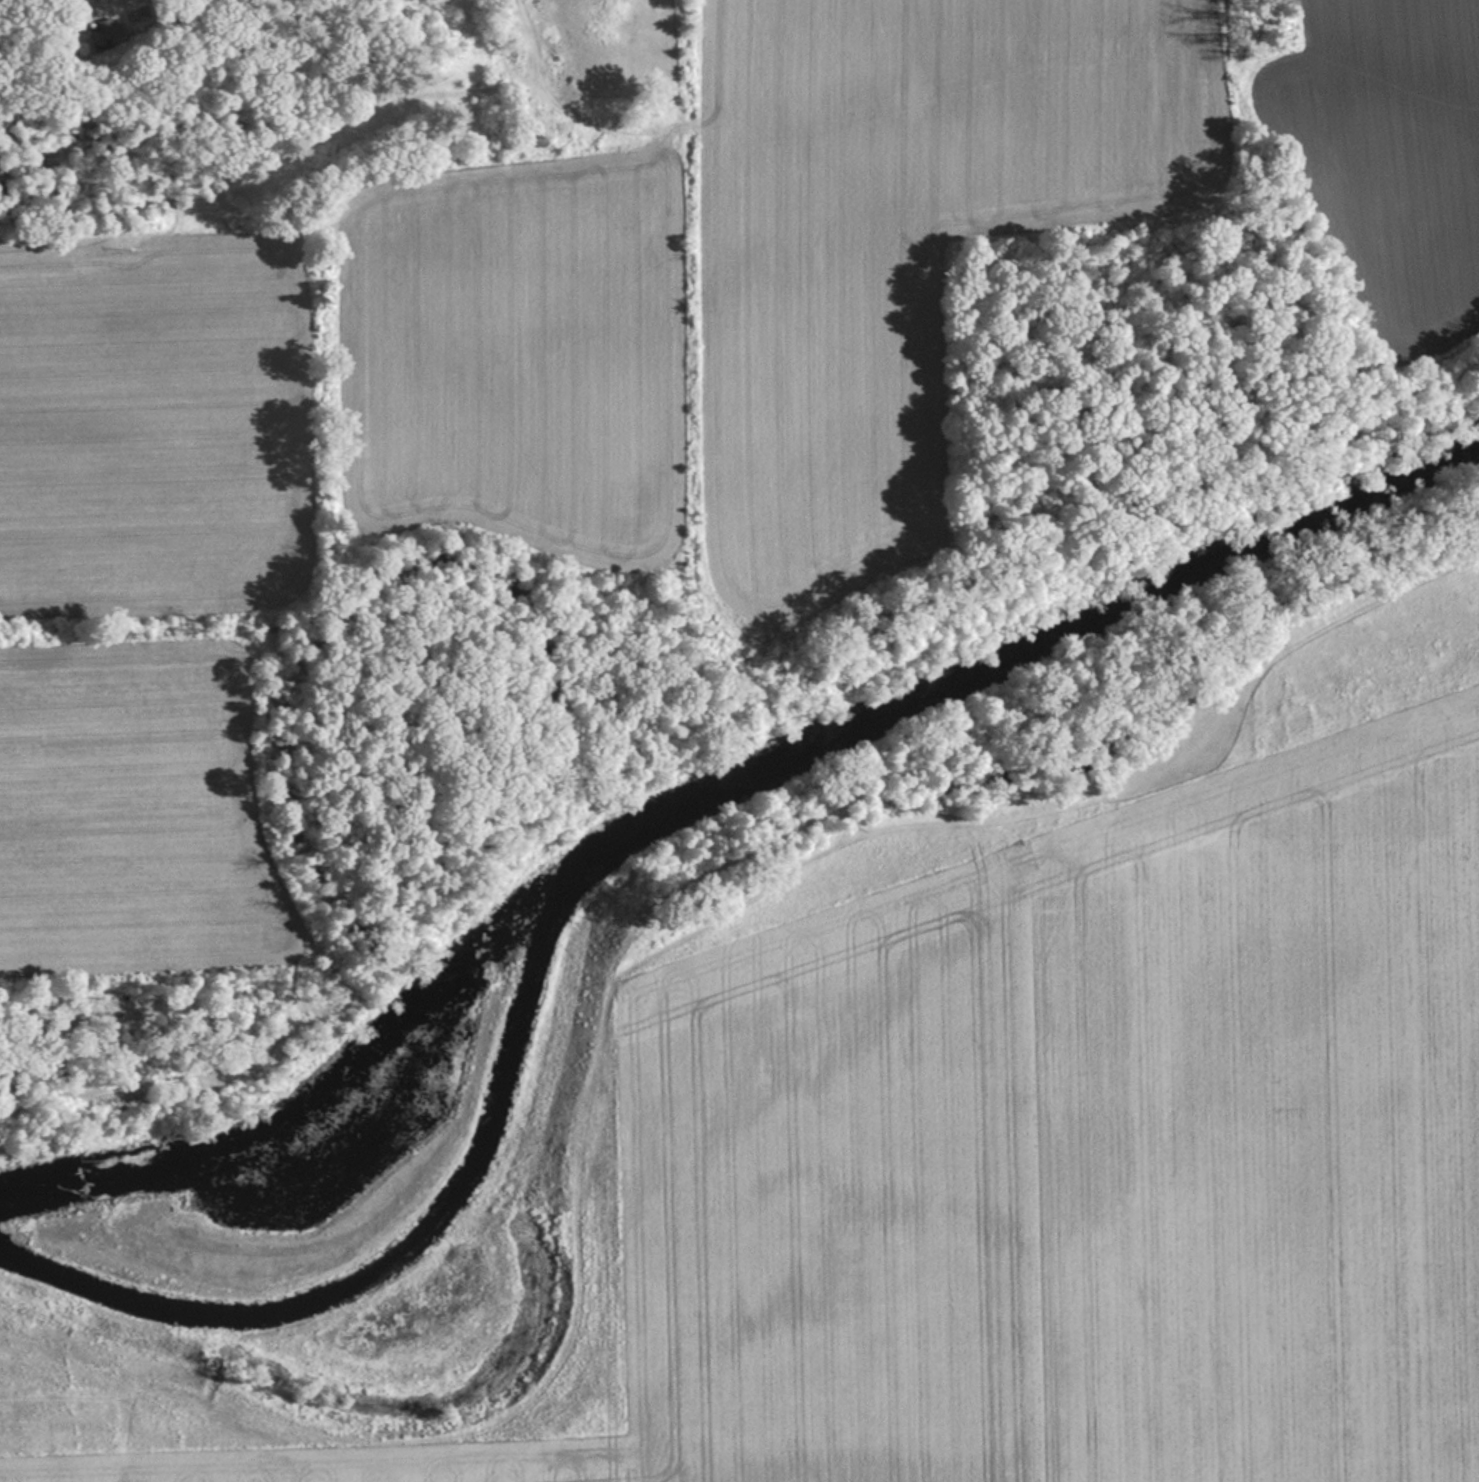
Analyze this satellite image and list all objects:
building: (109, 34)
river: (712, 787)

